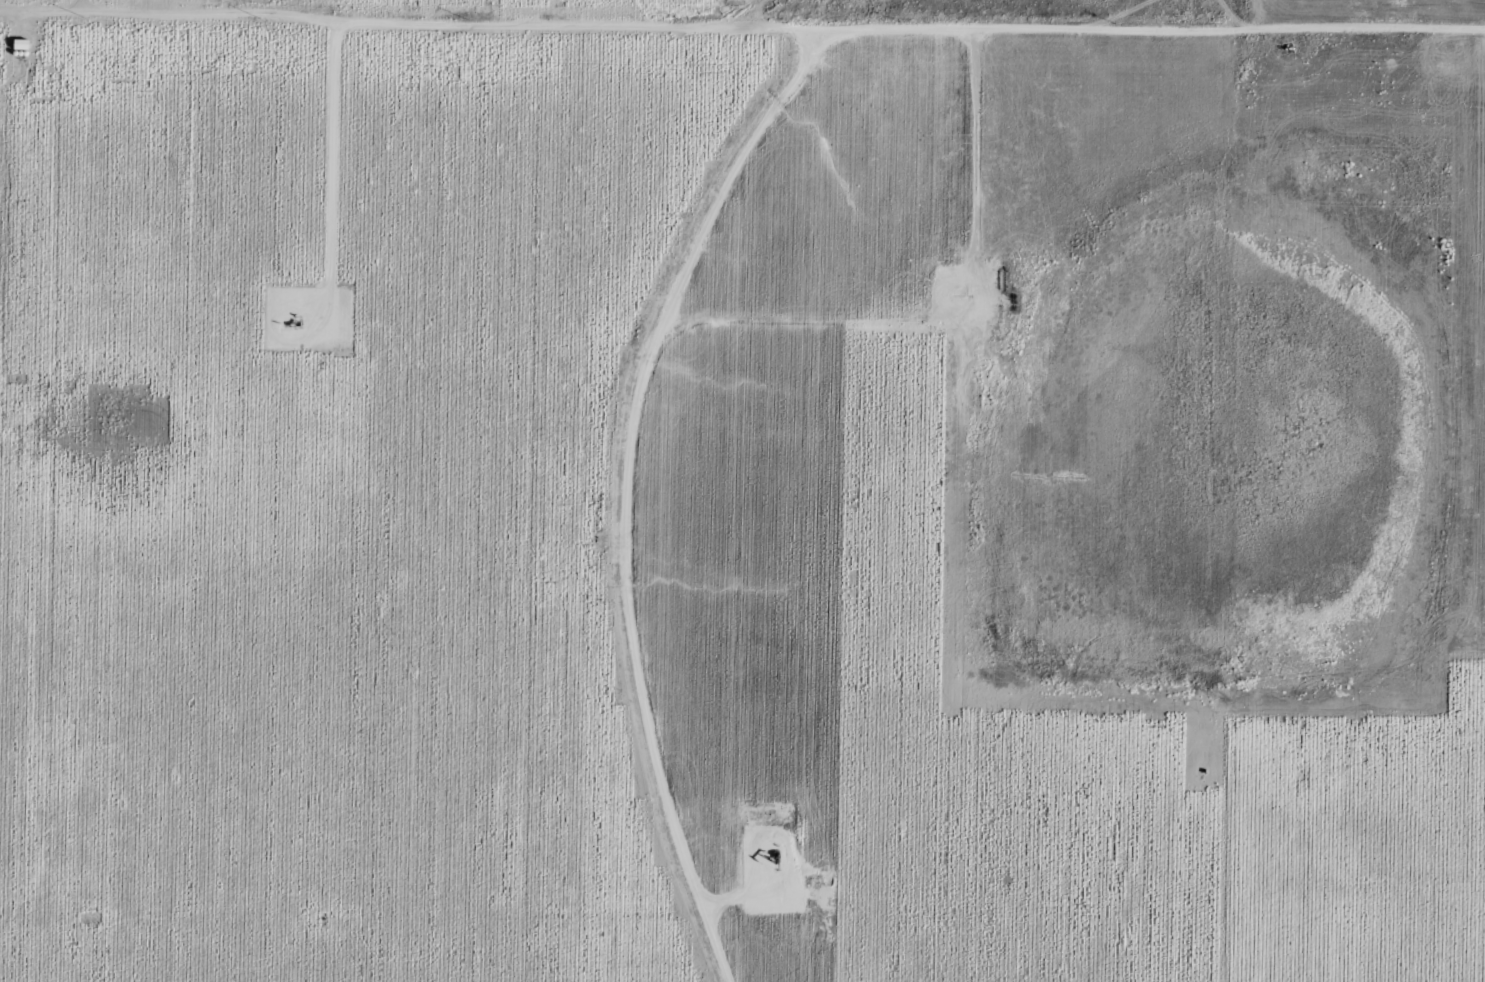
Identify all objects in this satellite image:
road: (411, 23)
road: (1138, 34)
petroleum well: (290, 324)
road: (1261, 491)
road: (624, 494)
petroleum well: (773, 857)

